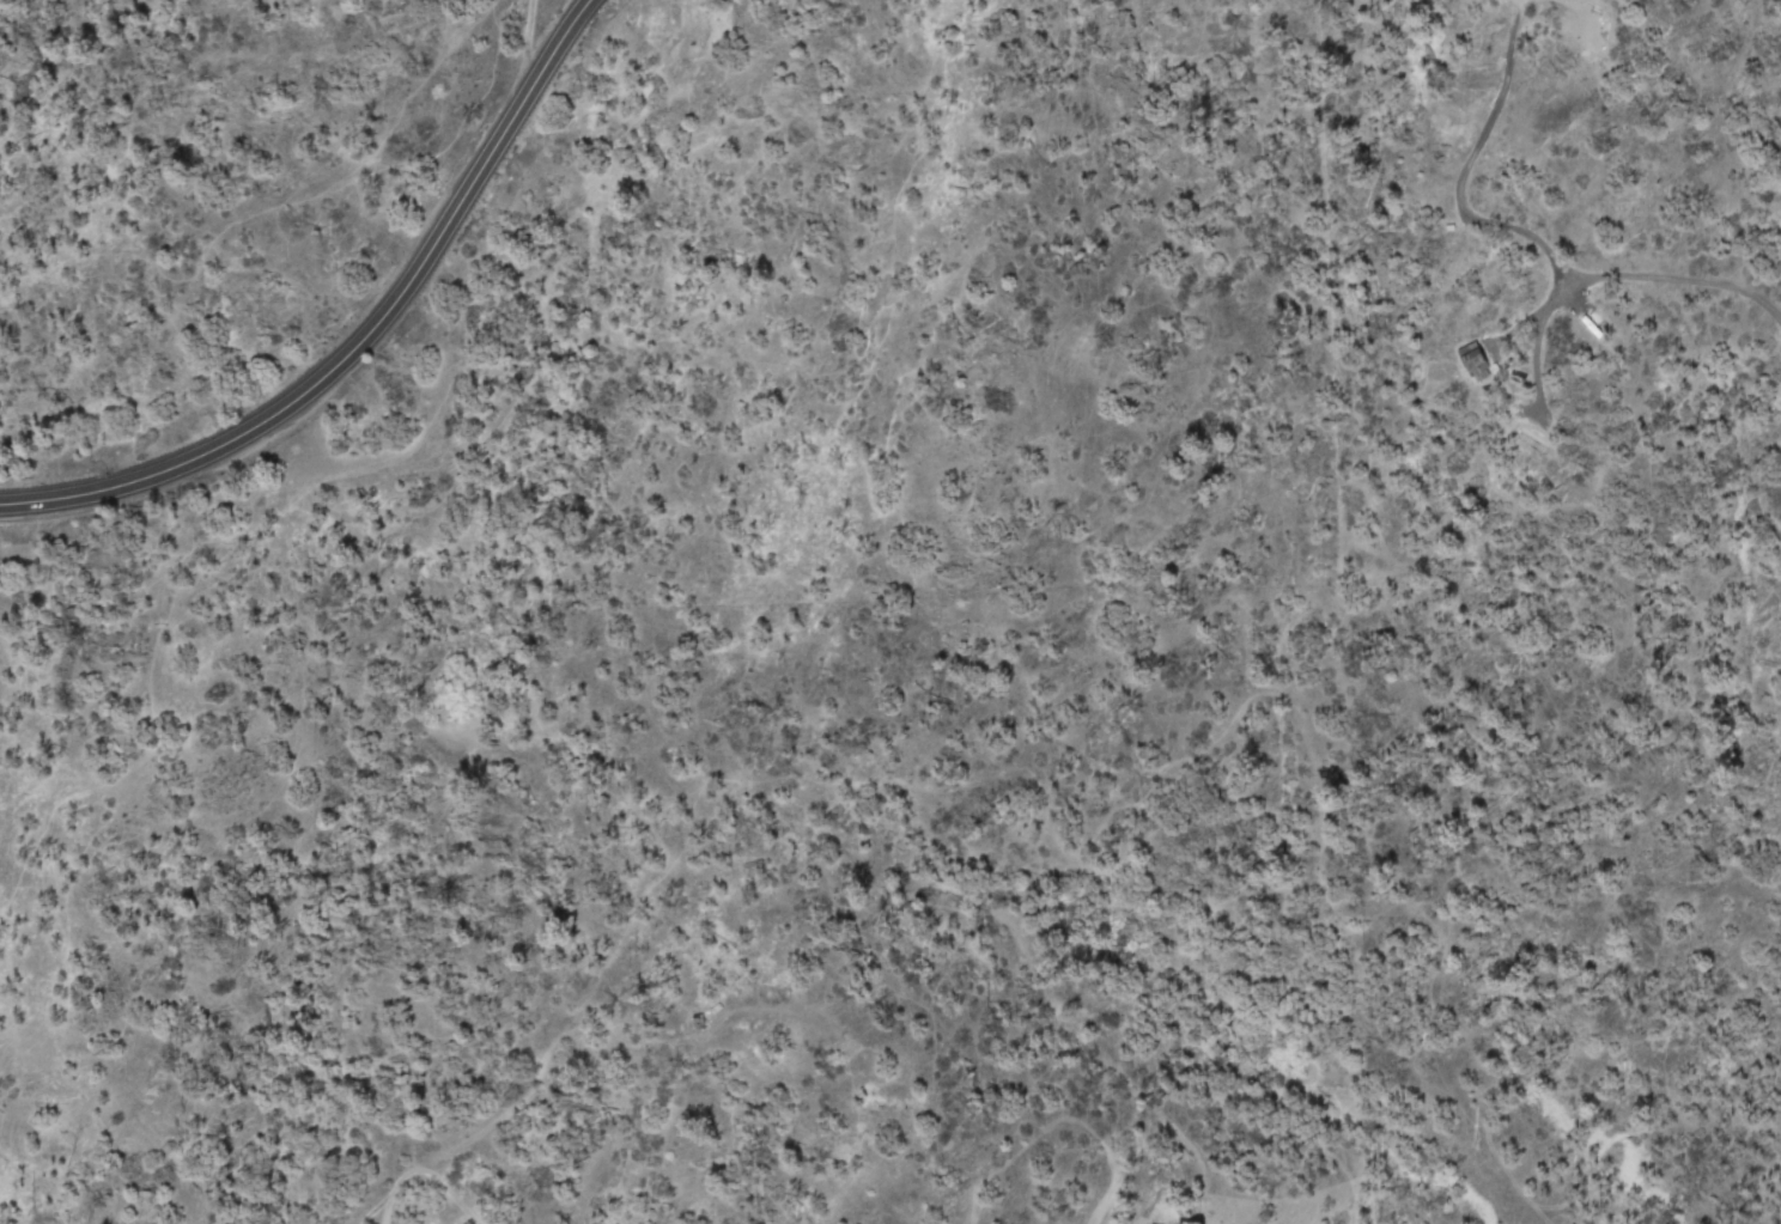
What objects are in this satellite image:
road: (1526, 229)
road: (366, 342)
road: (1539, 342)

